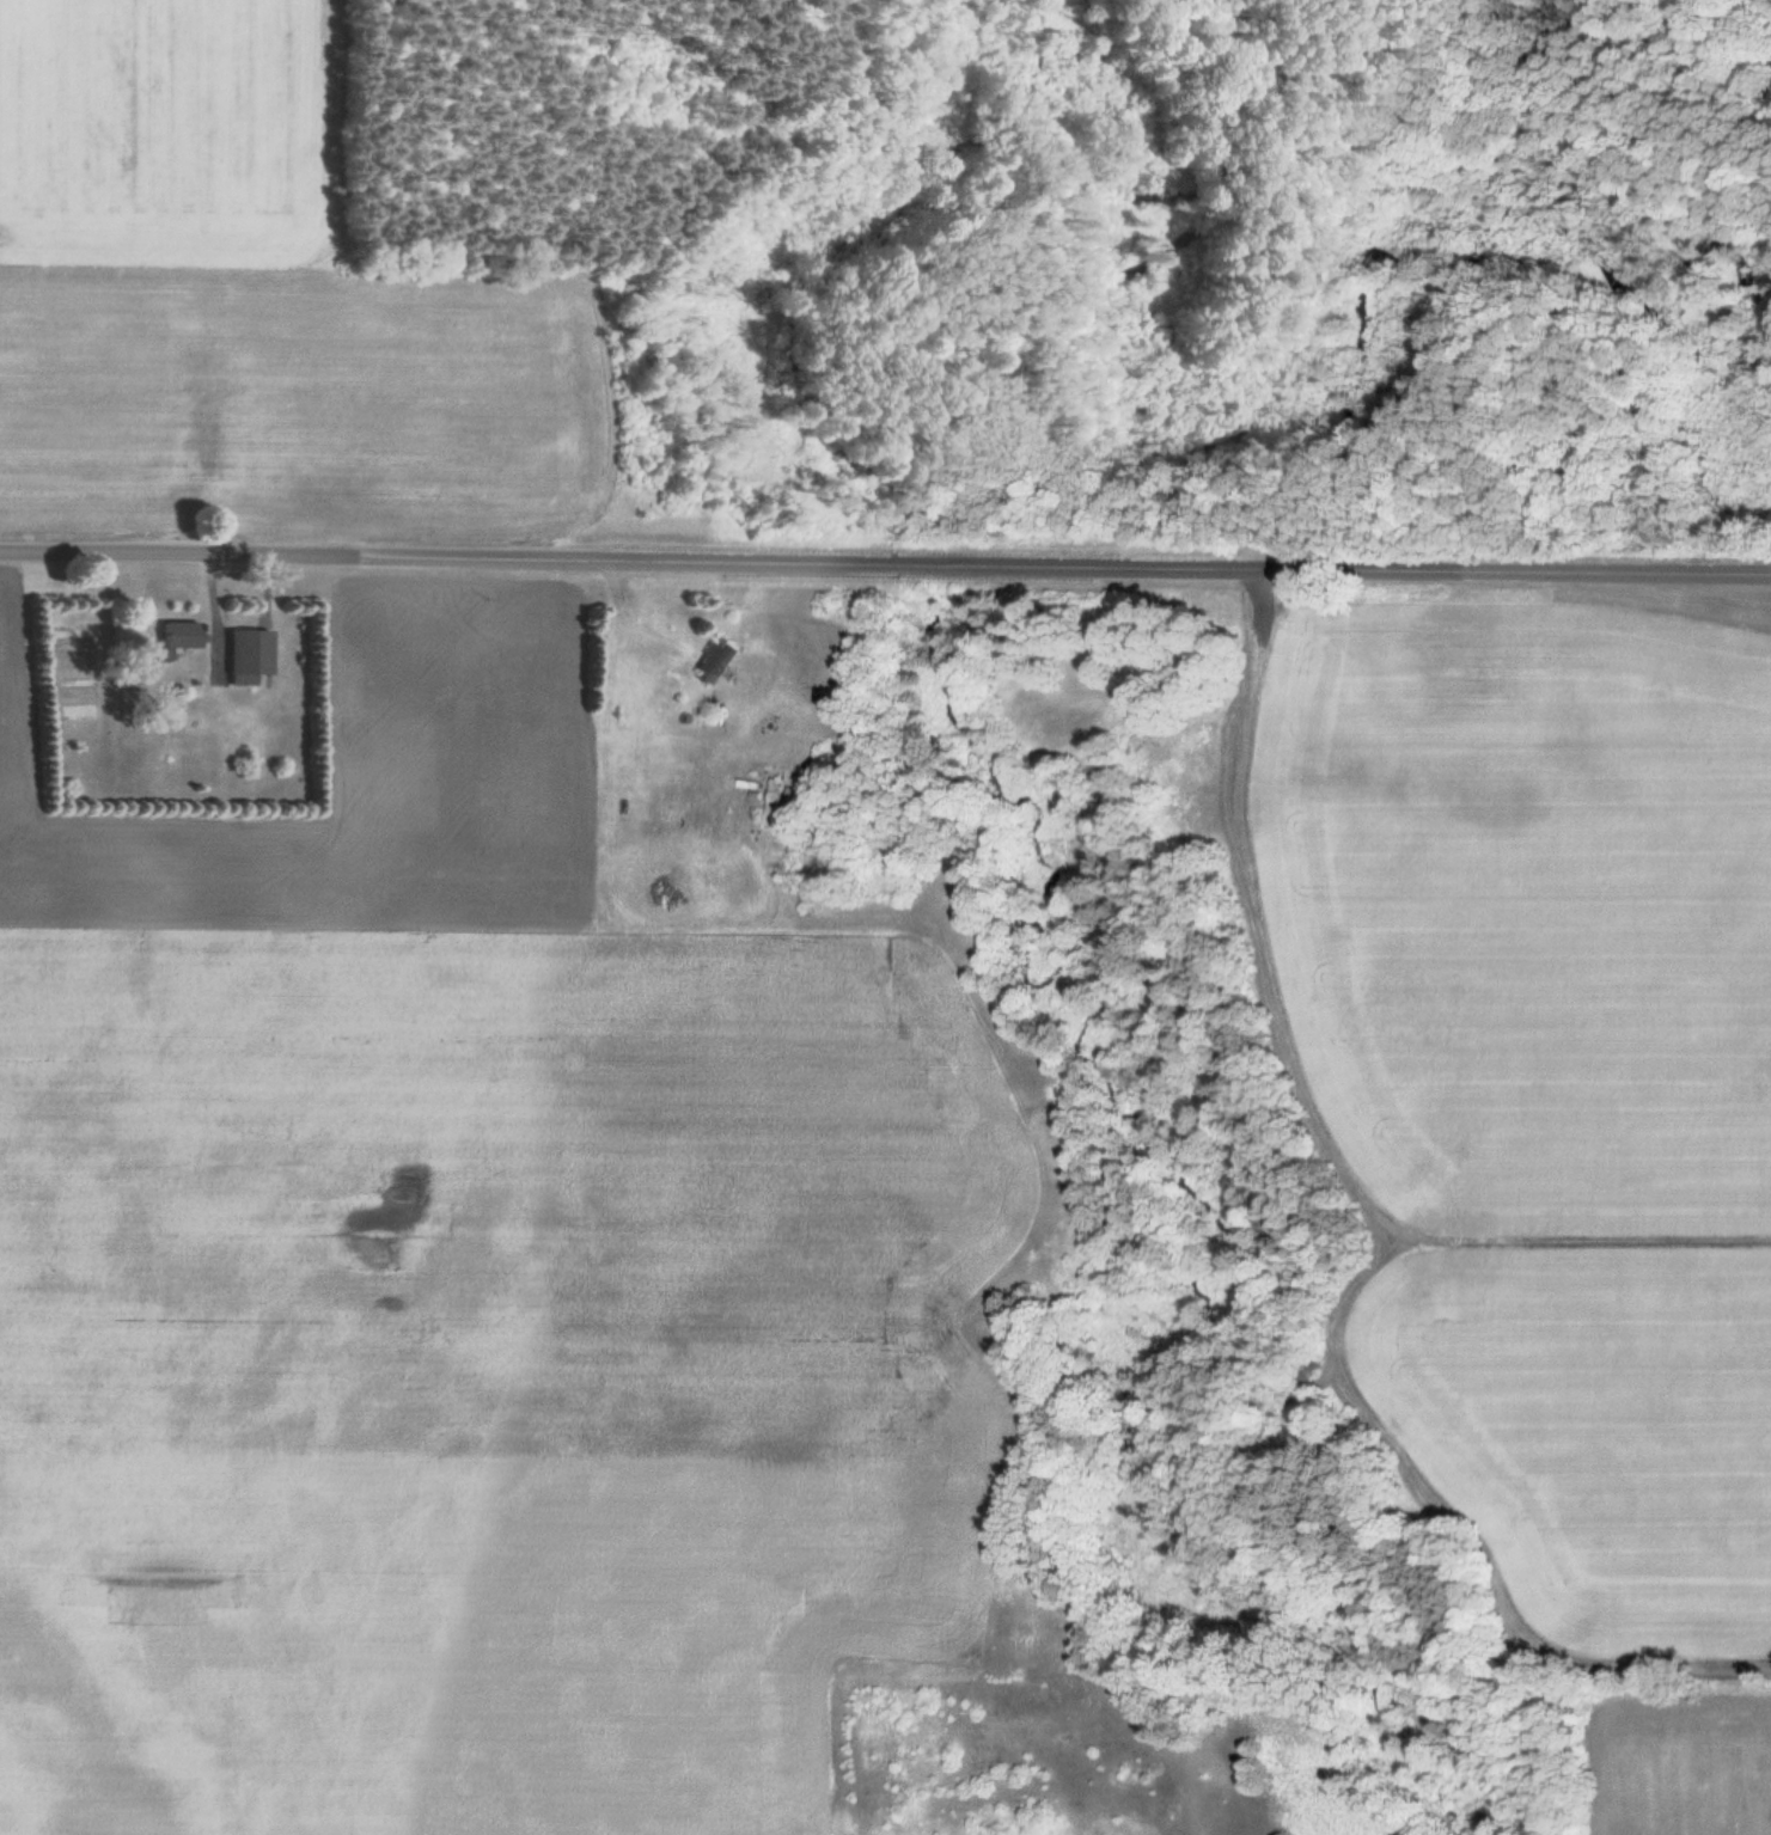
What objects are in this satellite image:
road: (885, 557)
building: (183, 635)
building: (249, 655)

